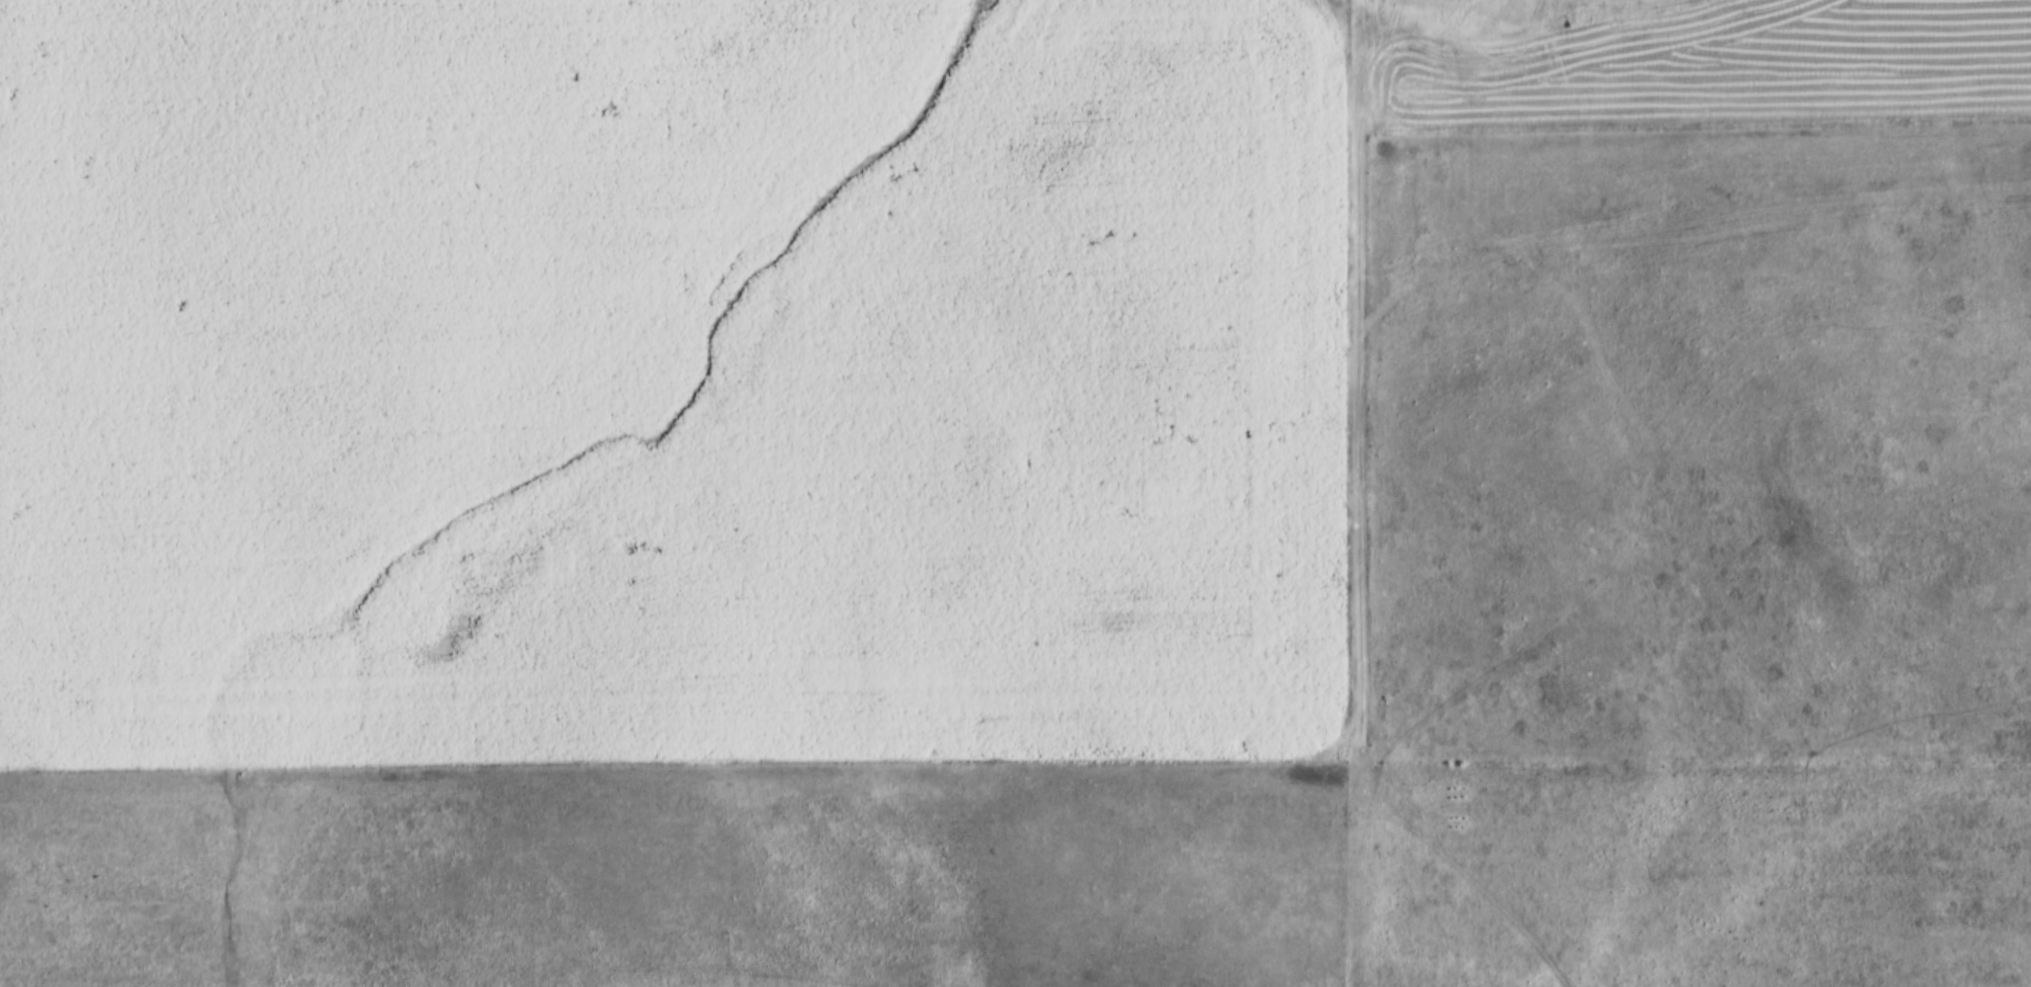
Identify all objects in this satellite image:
road: (785, 765)

